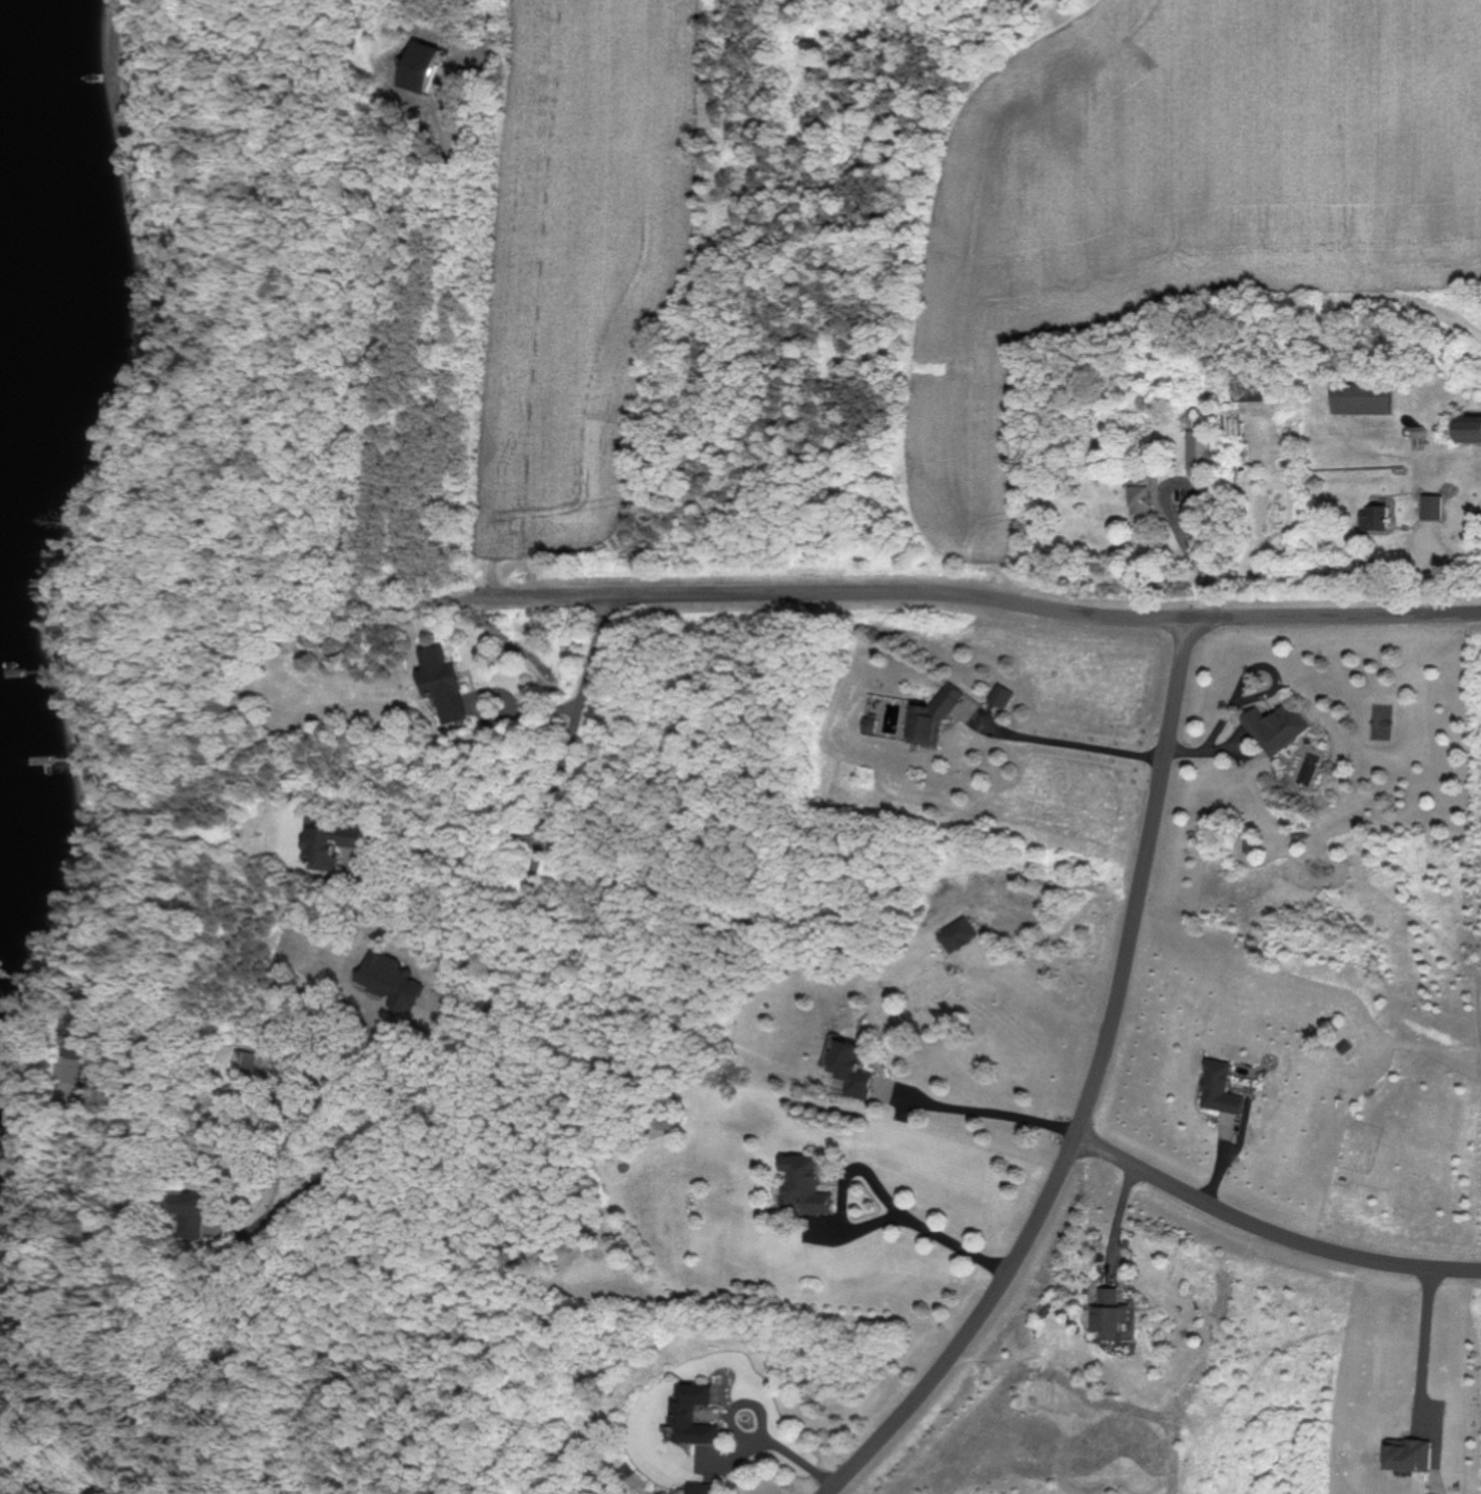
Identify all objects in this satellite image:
crop: (1171, 205)
crop: (573, 279)
road: (1194, 563)
road: (980, 596)
building: (442, 686)
road: (496, 715)
road: (1064, 743)
road: (447, 838)
building: (325, 852)
road: (518, 916)
road: (1042, 1001)
building: (86, 1039)
building: (247, 1065)
road: (1095, 1094)
road: (984, 1112)
building: (197, 1204)
road: (1117, 1218)
road: (1273, 1232)
road: (939, 1233)
road: (142, 1346)
road: (1423, 1348)
road: (789, 1455)

